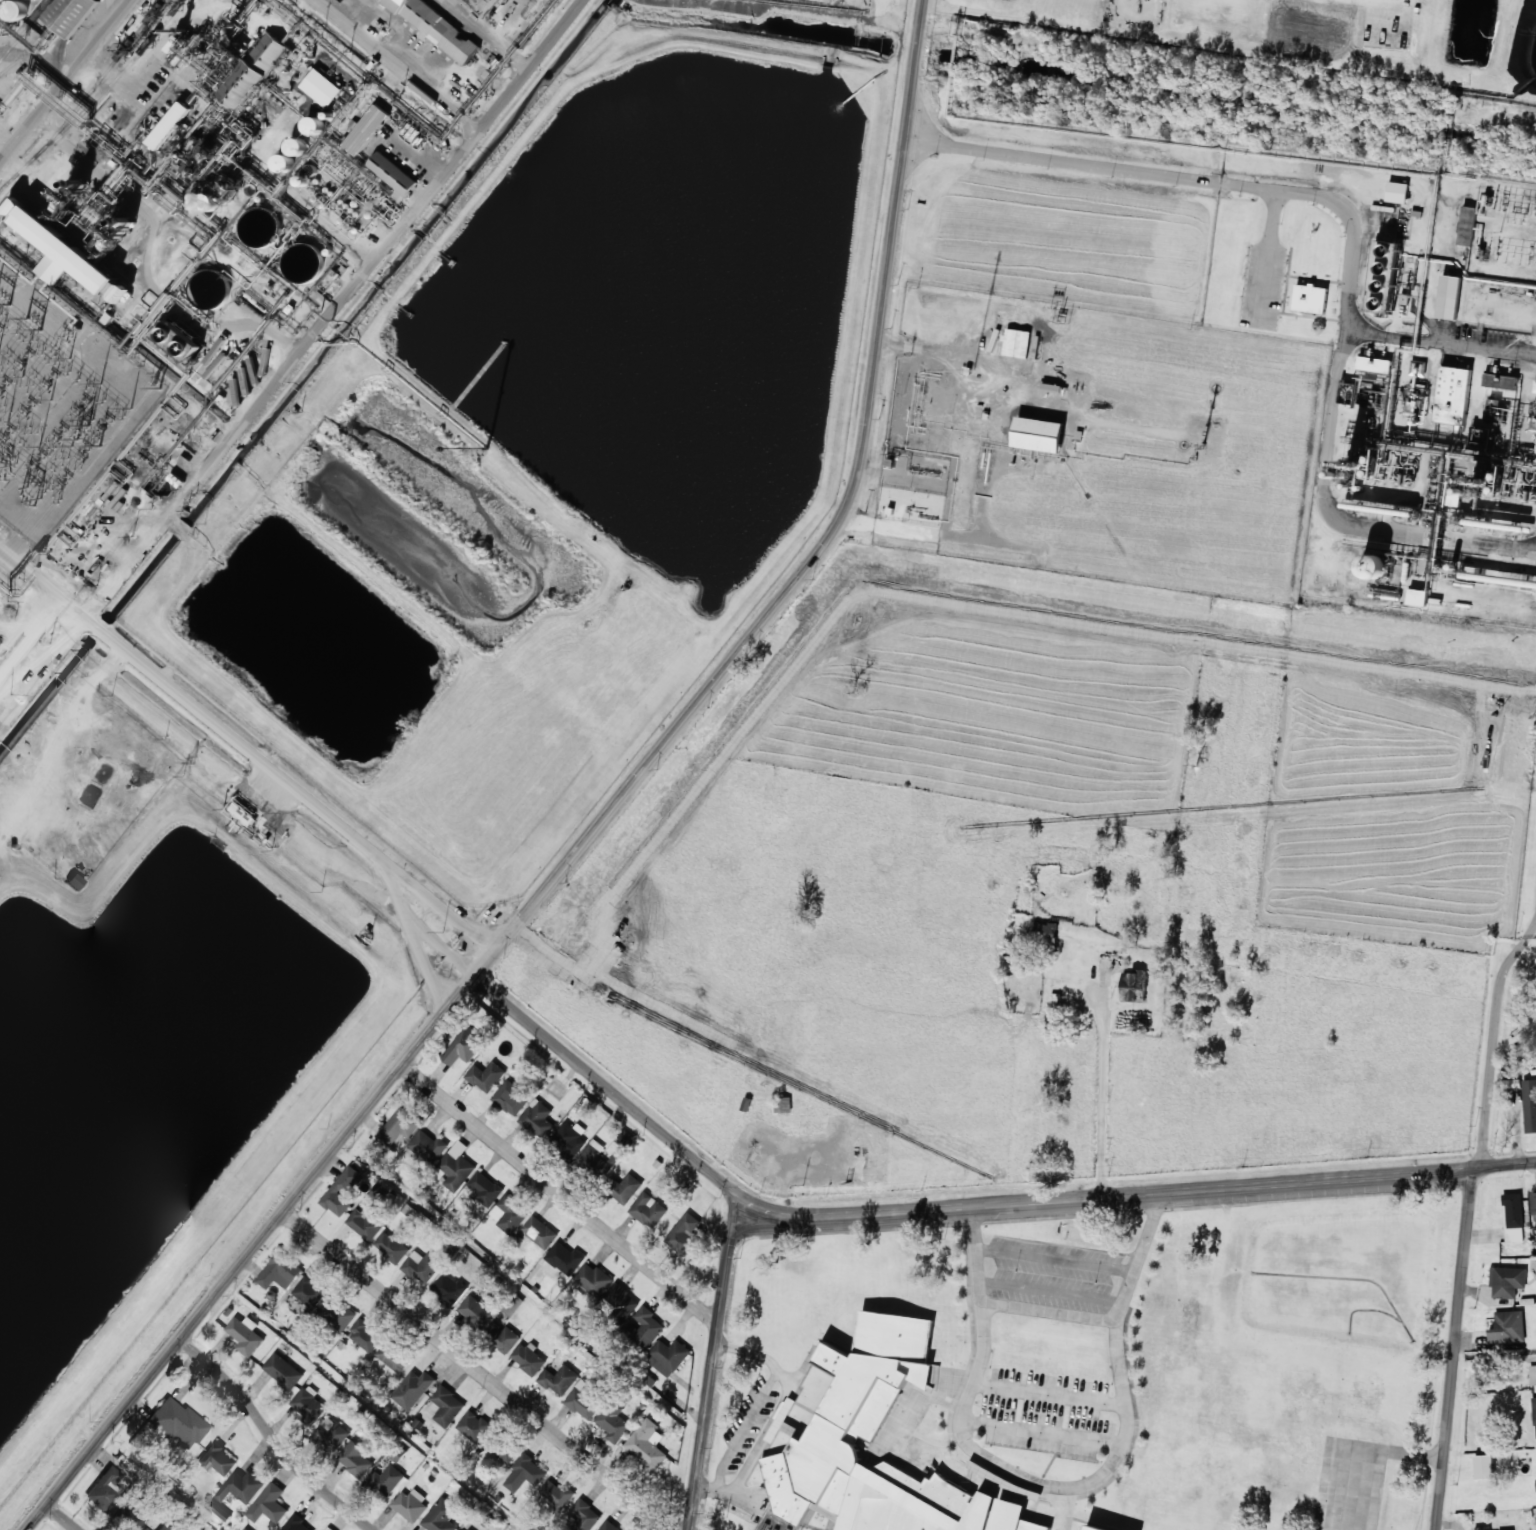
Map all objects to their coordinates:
building: (392, 2)
building: (11, 8)
storage tank: (11, 8)
building: (72, 14)
building: (440, 27)
railway: (23, 29)
railway: (35, 38)
road: (399, 65)
building: (229, 68)
road: (66, 81)
railway: (111, 82)
railway: (83, 96)
building: (167, 123)
building: (283, 163)
building: (388, 171)
road: (1285, 184)
building: (1397, 192)
building: (208, 202)
building: (1467, 225)
power plant: (90, 227)
power substation: (1504, 231)
building: (59, 254)
road: (147, 266)
building: (1377, 278)
building: (121, 293)
building: (1444, 295)
building: (1310, 298)
road: (335, 309)
building: (1016, 342)
building: (1374, 364)
building: (1500, 381)
building: (1347, 393)
building: (1452, 395)
building: (1535, 397)
power substation: (58, 402)
building: (1038, 434)
railway: (1439, 552)
building: (1373, 567)
building: (1417, 597)
road: (32, 637)
road: (254, 753)
building: (242, 812)
road: (600, 820)
wastewater plant: (1528, 879)
building: (75, 881)
road: (438, 903)
road: (440, 946)
building: (1134, 986)
building: (465, 1045)
building: (486, 1076)
road: (611, 1089)
building: (511, 1098)
building: (1529, 1105)
building: (538, 1118)
building: (399, 1126)
building: (570, 1138)
building: (625, 1139)
building: (427, 1146)
building: (594, 1150)
building: (454, 1167)
building: (484, 1188)
building: (627, 1188)
road: (1137, 1190)
building: (342, 1191)
road: (560, 1193)
building: (377, 1195)
building: (1533, 1205)
building: (648, 1209)
building: (509, 1213)
building: (1513, 1217)
building: (364, 1223)
building: (539, 1232)
building: (683, 1234)
building: (391, 1246)
building: (563, 1259)
building: (422, 1266)
building: (280, 1271)
building: (593, 1279)
building: (1507, 1281)
building: (448, 1289)
building: (308, 1291)
building: (620, 1302)
building: (512, 1304)
building: (474, 1312)
building: (338, 1313)
building: (647, 1326)
building: (1507, 1327)
building: (245, 1335)
building: (365, 1336)
building: (506, 1340)
road: (1453, 1348)
building: (668, 1356)
building: (393, 1357)
building: (528, 1358)
road: (712, 1369)
road: (478, 1370)
building: (283, 1371)
building: (1532, 1374)
building: (560, 1379)
building: (413, 1389)
building: (585, 1399)
building: (308, 1405)
building: (447, 1406)
building: (1534, 1410)
building: (855, 1411)
building: (613, 1421)
building: (177, 1423)
building: (473, 1426)
building: (788, 1428)
building: (331, 1434)
road: (274, 1437)
building: (646, 1444)
building: (506, 1452)
building: (395, 1453)
building: (355, 1459)
building: (217, 1460)
building: (1484, 1466)
building: (525, 1473)
building: (387, 1479)
building: (241, 1486)
road: (1060, 1486)
building: (103, 1488)
building: (556, 1494)
building: (269, 1504)
building: (410, 1504)
building: (219, 1510)
road: (63, 1516)
building: (441, 1516)
building: (583, 1516)
building: (130, 1519)
building: (297, 1524)
building: (608, 1526)
building: (164, 1527)
building: (329, 1528)
building: (1092, 1528)
building: (144, 1529)
building: (246, 1529)
building: (464, 1529)

